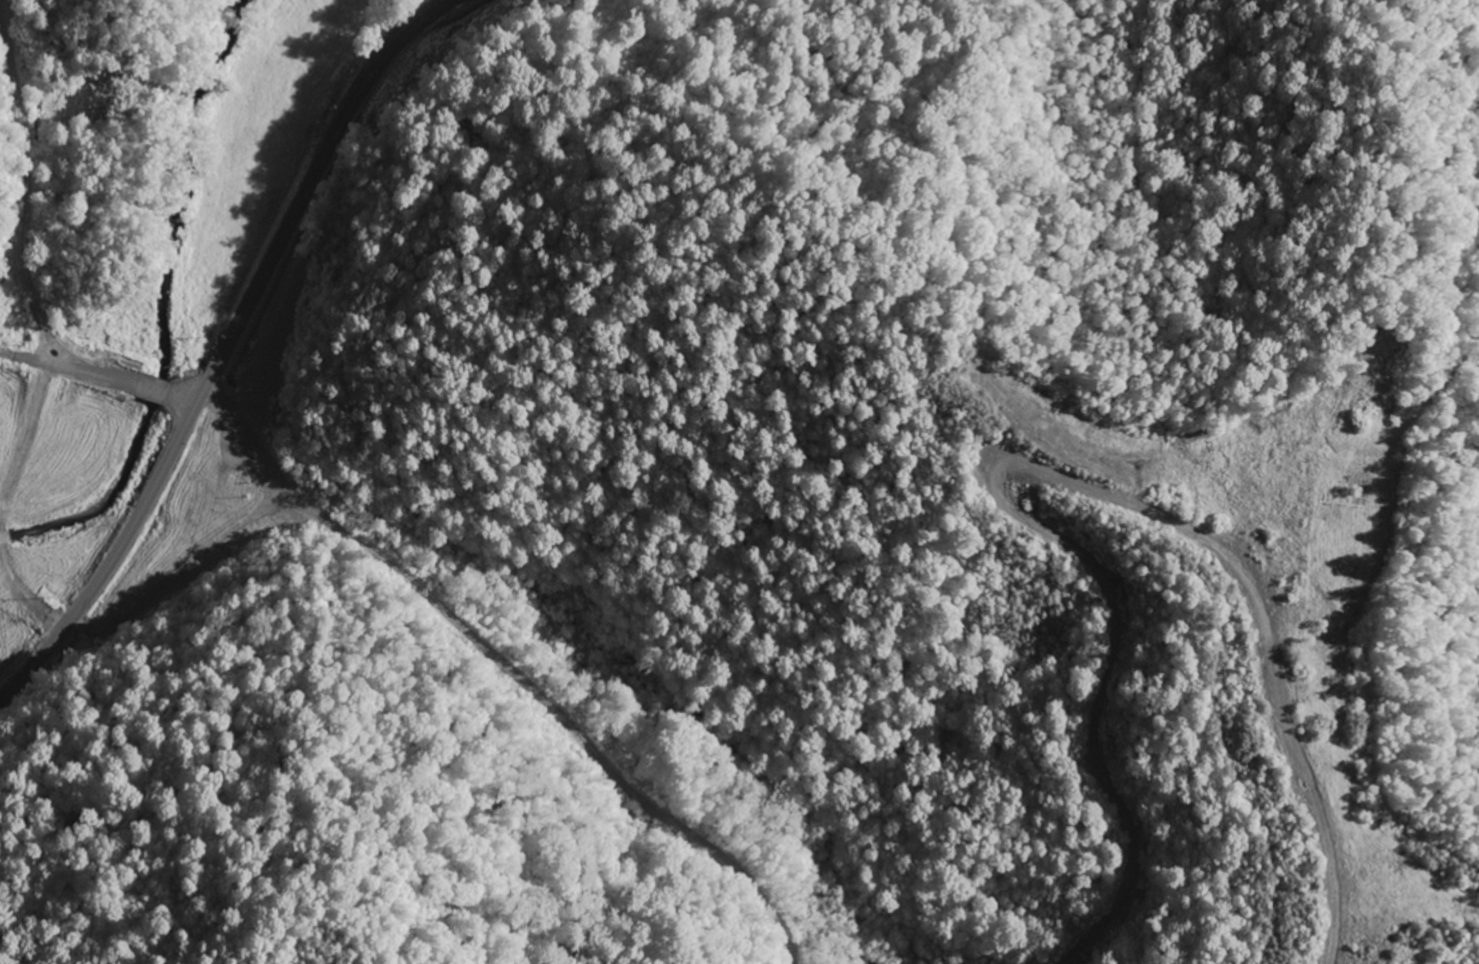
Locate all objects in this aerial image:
road: (31, 219)
road: (226, 347)
road: (31, 362)
road: (131, 385)

